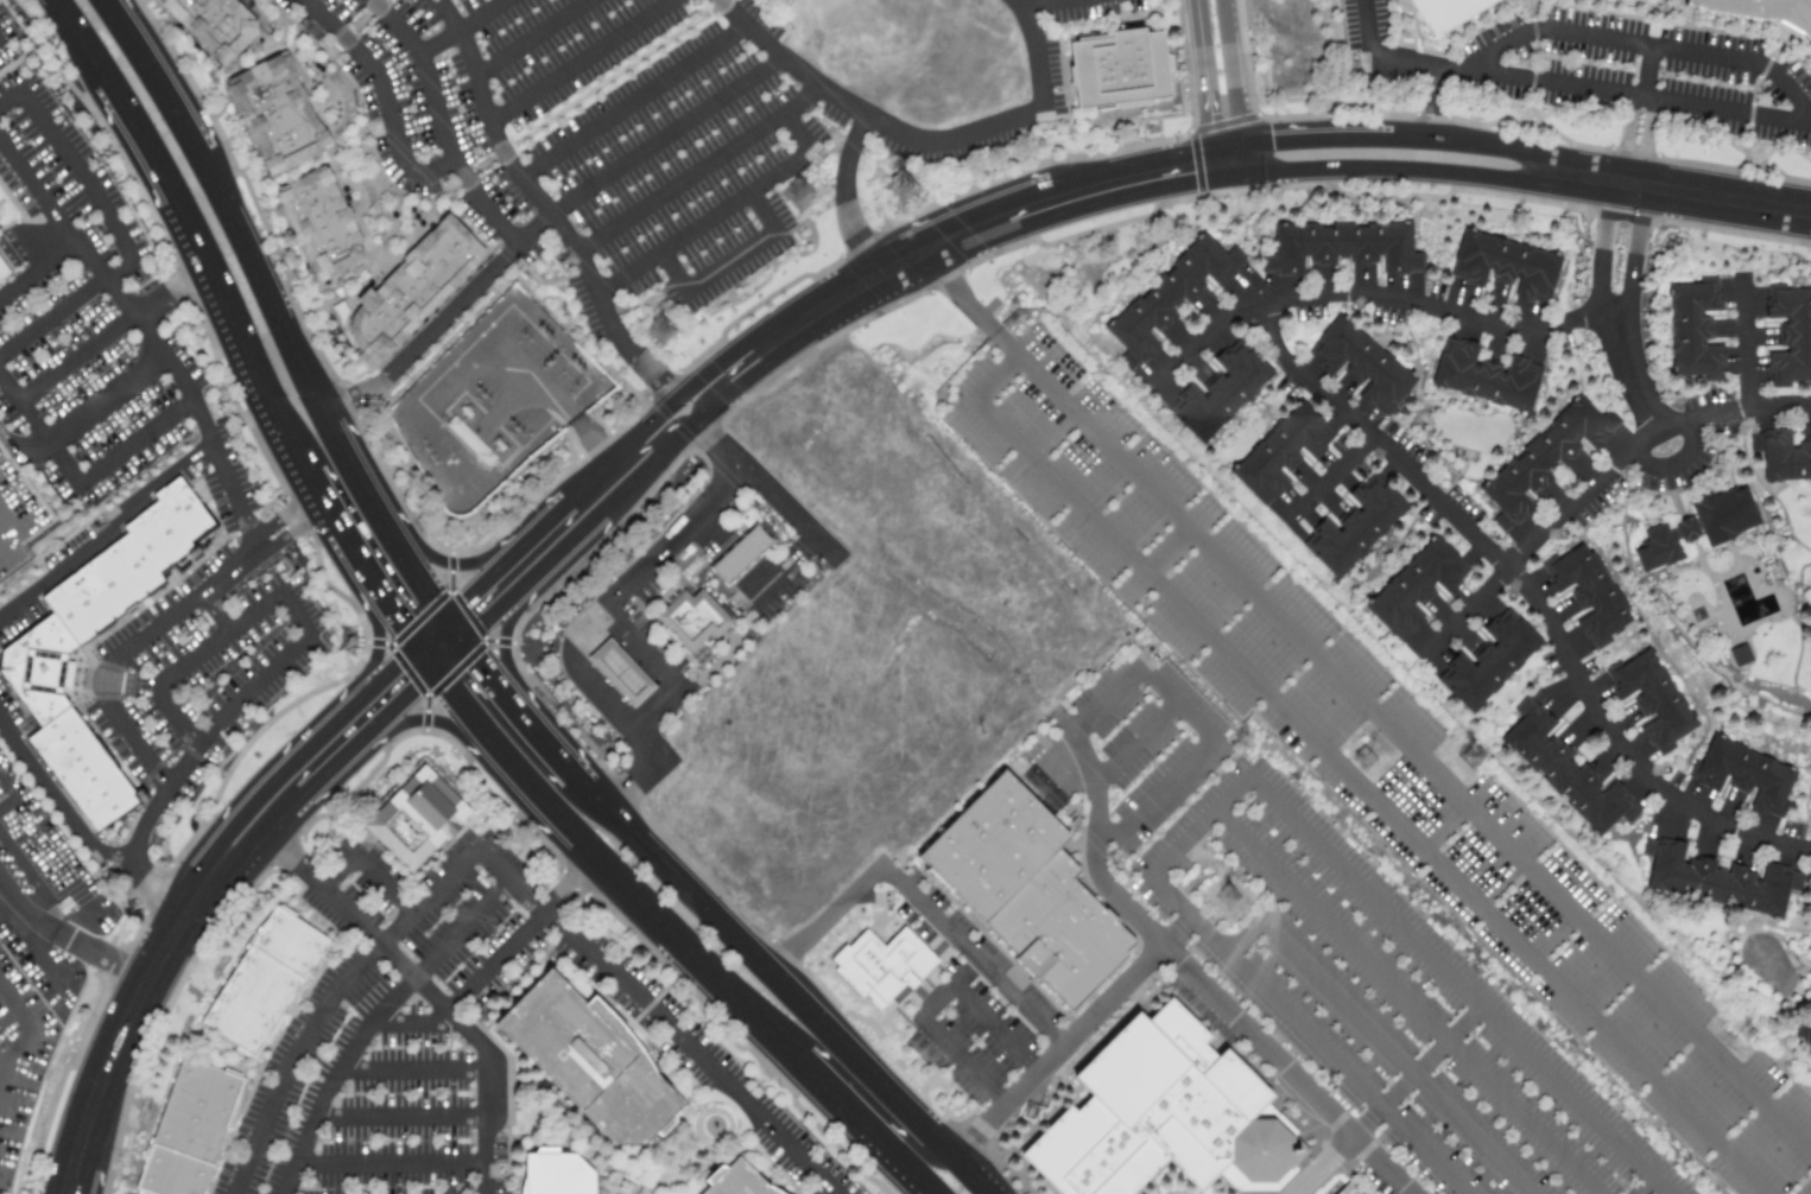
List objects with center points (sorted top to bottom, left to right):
road: (1045, 5)
building: (1446, 7)
building: (1786, 7)
building: (214, 25)
road: (460, 28)
road: (1367, 28)
road: (532, 37)
road: (80, 38)
road: (1644, 45)
road: (578, 62)
building: (1117, 70)
road: (1648, 72)
road: (156, 74)
road: (1233, 90)
road: (1205, 91)
road: (1591, 91)
road: (381, 95)
road: (10, 99)
road: (1435, 101)
road: (632, 102)
building: (276, 114)
traffic signals: (1236, 115)
traffic signals: (1210, 122)
road: (439, 123)
road: (1372, 133)
traffic signals: (1272, 136)
road: (1621, 136)
road: (916, 140)
road: (1654, 141)
traffic signals: (1186, 170)
road: (698, 171)
road: (1370, 178)
road: (84, 183)
power tower: (903, 185)
building: (899, 186)
road: (1680, 193)
road: (846, 199)
power tower: (802, 204)
road: (543, 207)
building: (0, 211)
road: (717, 212)
road: (760, 214)
road: (544, 220)
building: (321, 224)
road: (981, 229)
building: (1345, 247)
road: (1604, 252)
road: (1638, 256)
road: (728, 263)
building: (1509, 263)
building: (6, 268)
road: (37, 269)
road: (670, 273)
road: (201, 277)
road: (273, 278)
building: (410, 288)
road: (113, 290)
road: (166, 294)
building: (1173, 297)
road: (970, 306)
road: (310, 313)
road: (52, 316)
building: (1695, 330)
power tower: (663, 332)
road: (1207, 334)
building: (1792, 334)
power tower: (545, 335)
road: (1742, 345)
road: (74, 360)
building: (1366, 364)
power tower: (578, 367)
road: (1300, 373)
building: (1489, 377)
building: (1224, 392)
road: (699, 395)
road: (555, 398)
power substation: (494, 402)
road: (507, 406)
road: (82, 417)
road: (663, 427)
road: (38, 434)
road: (133, 443)
road: (610, 451)
building: (1284, 452)
building: (1782, 456)
building: (1549, 458)
road: (1672, 463)
road: (366, 472)
road: (1326, 477)
road: (637, 488)
road: (772, 495)
road: (233, 497)
road: (1582, 501)
building: (1724, 515)
road: (11, 517)
road: (277, 517)
building: (1360, 526)
road: (323, 527)
building: (1686, 531)
road: (106, 532)
road: (287, 533)
road: (11, 540)
building: (1658, 548)
road: (1169, 551)
building: (741, 554)
road: (455, 560)
road: (425, 569)
road: (781, 569)
building: (1419, 586)
traffic signals: (462, 592)
building: (1589, 592)
road: (215, 609)
road: (1463, 611)
road: (378, 614)
road: (295, 616)
building: (695, 620)
road: (464, 623)
road: (587, 625)
road: (426, 627)
road: (509, 633)
traffic signals: (393, 635)
road: (214, 640)
road: (373, 642)
road: (126, 648)
road: (637, 649)
building: (39, 653)
building: (697, 655)
traffic signals: (488, 656)
building: (1739, 656)
building: (1494, 661)
road: (455, 665)
road: (417, 668)
building: (622, 672)
road: (374, 675)
building: (1653, 698)
traffic signals: (417, 700)
road: (1106, 701)
road: (1178, 703)
road: (648, 709)
road: (533, 712)
road: (400, 715)
road: (456, 719)
road: (178, 720)
road: (428, 726)
road: (201, 739)
road: (1136, 743)
road: (1414, 755)
power tower: (1475, 757)
power tower: (1368, 767)
road: (341, 771)
building: (1569, 771)
road: (1351, 775)
building: (1746, 775)
road: (2, 783)
road: (259, 788)
road: (2, 789)
road: (1157, 799)
road: (303, 808)
road: (536, 811)
building: (1810, 818)
building: (414, 820)
road: (1198, 826)
road: (80, 836)
road: (257, 862)
road: (336, 870)
building: (1722, 879)
road: (382, 884)
building: (1032, 890)
road: (44, 895)
power tower: (1229, 897)
road: (26, 908)
road: (831, 916)
building: (1810, 927)
road: (1245, 939)
road: (380, 944)
road: (973, 957)
road: (102, 958)
building: (881, 966)
road: (490, 970)
road: (1189, 976)
building: (267, 984)
road: (800, 985)
road: (1455, 985)
road: (949, 991)
road: (1406, 1002)
road: (325, 1003)
building: (1810, 1003)
road: (658, 1016)
road: (373, 1021)
road: (25, 1027)
road: (998, 1029)
power tower: (1748, 1033)
road: (745, 1034)
road: (1077, 1034)
building: (1805, 1034)
road: (124, 1035)
road: (1307, 1035)
road: (1397, 1058)
building: (589, 1063)
road: (964, 1063)
road: (411, 1072)
road: (1386, 1100)
road: (868, 1111)
building: (1157, 1111)
road: (400, 1114)
road: (487, 1120)
building: (194, 1130)
road: (391, 1163)
building: (557, 1175)
building: (737, 1181)
road: (1642, 1187)
building: (1351, 1189)

